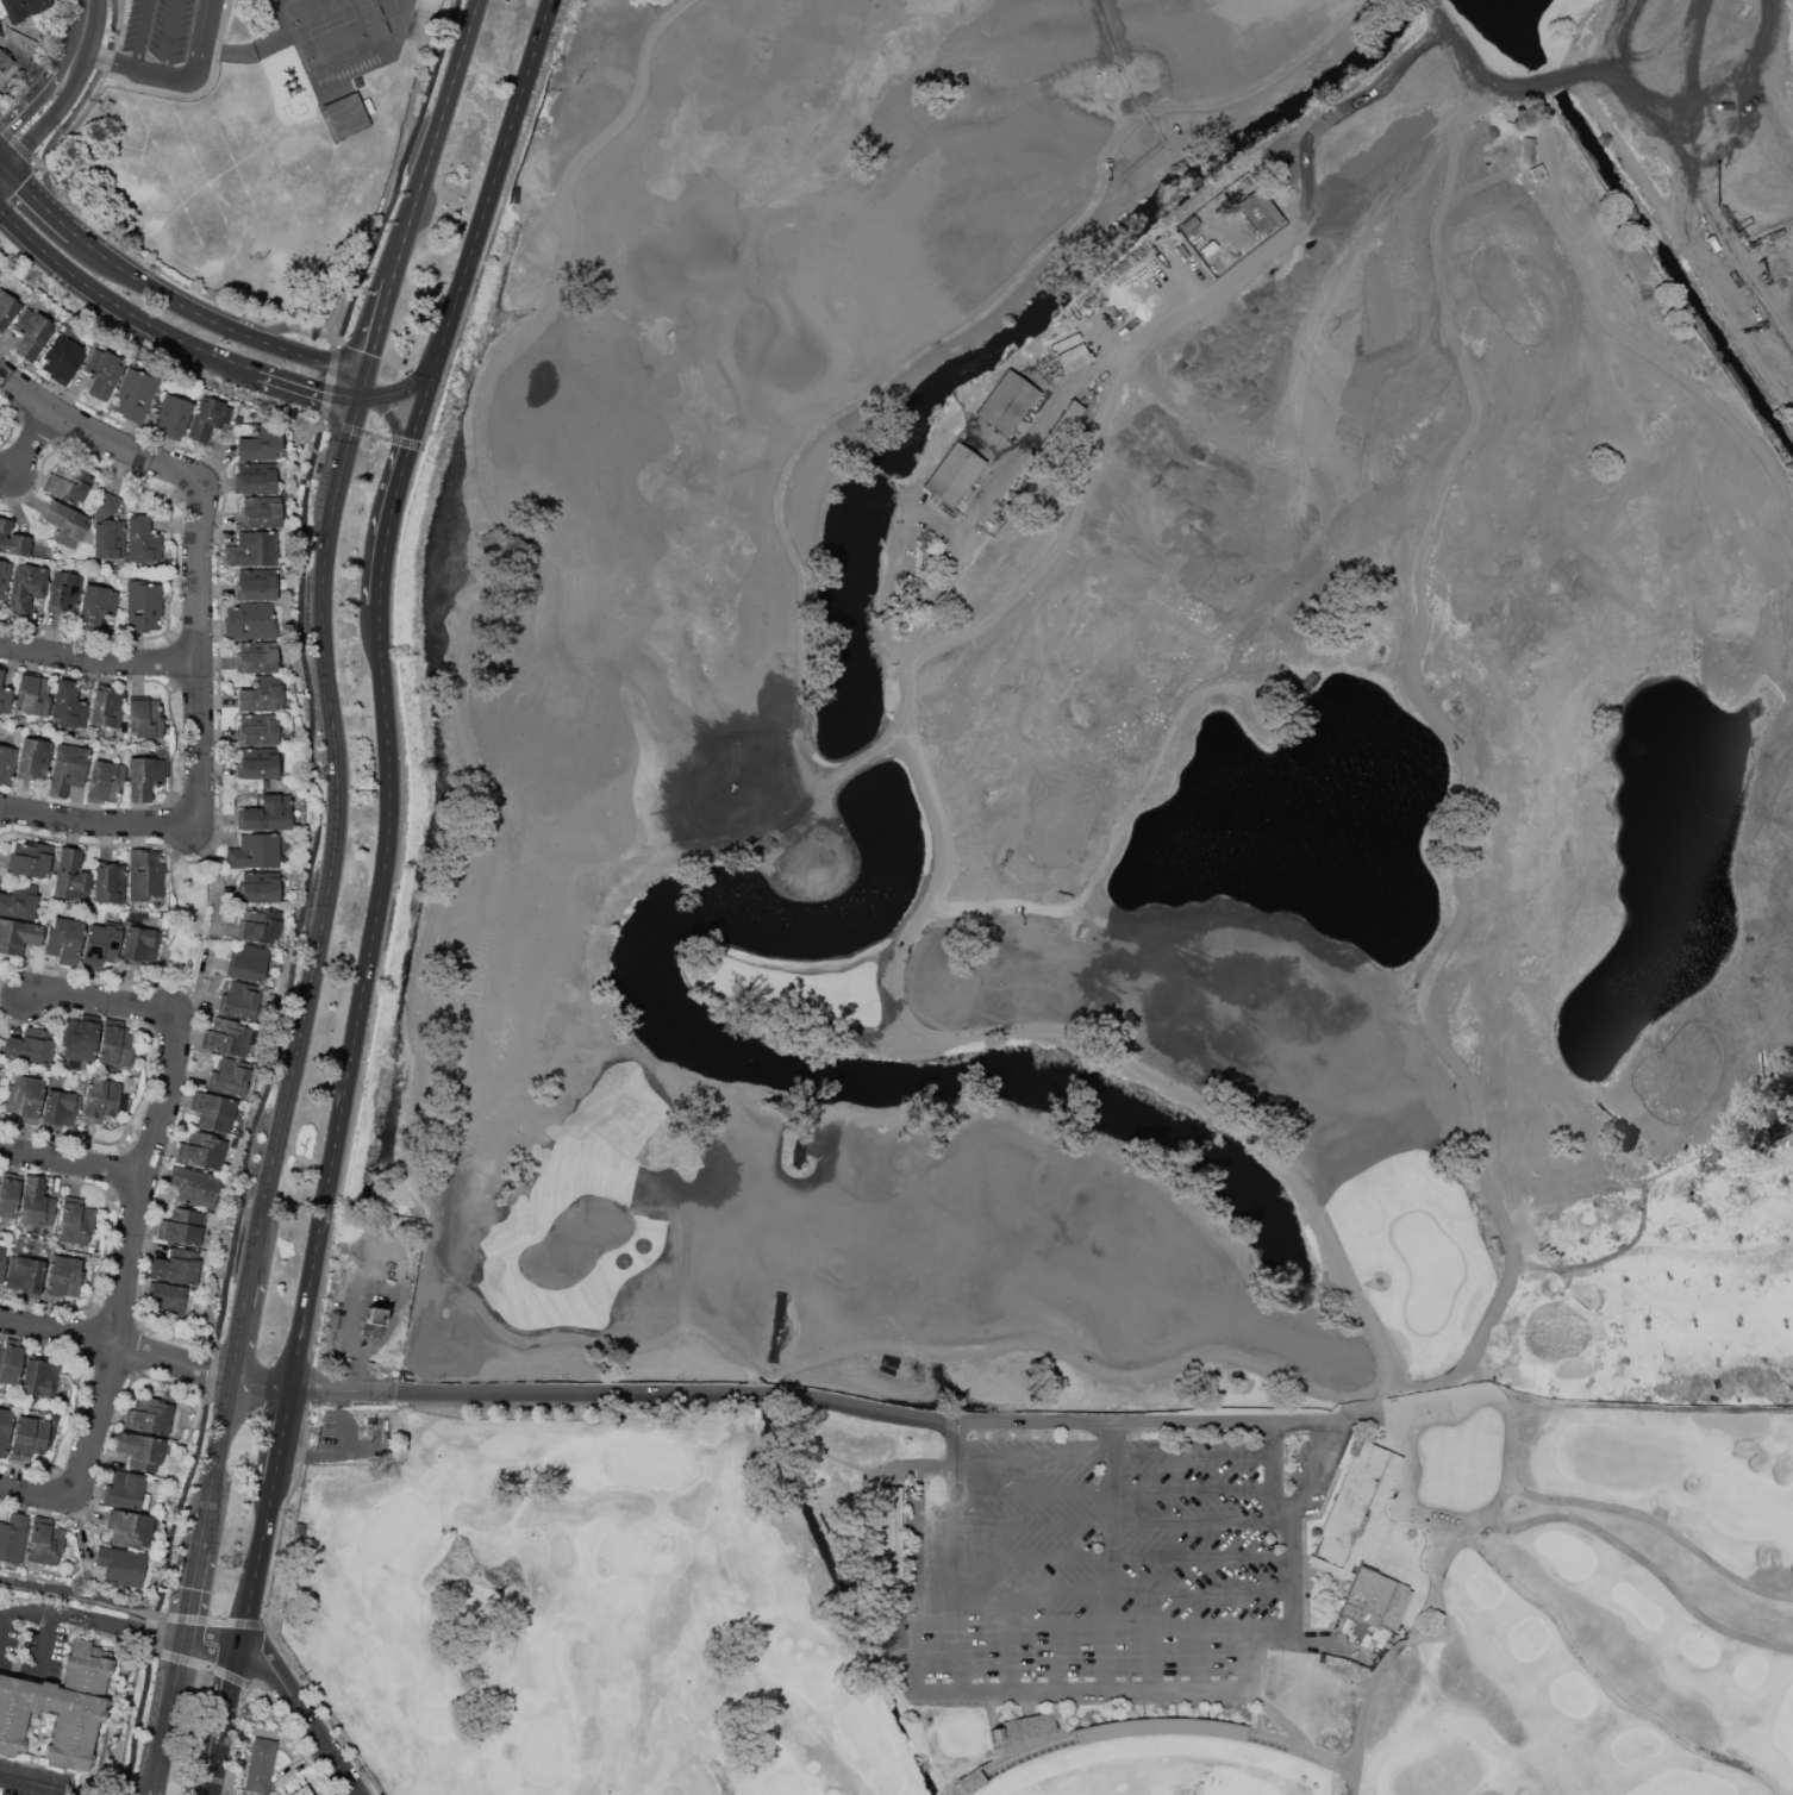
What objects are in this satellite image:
building: (21, 8)
road: (1437, 8)
road: (81, 25)
road: (1578, 32)
road: (143, 33)
road: (171, 38)
road: (198, 42)
building: (5, 60)
road: (133, 67)
road: (1500, 76)
road: (1550, 82)
road: (38, 93)
building: (346, 115)
road: (49, 119)
road: (436, 139)
building: (1526, 149)
road: (504, 160)
road: (1558, 184)
road: (37, 195)
building: (1258, 209)
building: (1189, 224)
road: (1681, 238)
building: (1208, 248)
road: (170, 296)
road: (120, 305)
building: (7, 309)
building: (32, 332)
road: (374, 336)
building: (62, 357)
building: (1072, 357)
road: (320, 362)
building: (102, 373)
road: (421, 380)
road: (308, 387)
building: (136, 393)
building: (1005, 402)
building: (171, 417)
building: (207, 418)
building: (1064, 418)
building: (0, 424)
road: (419, 431)
building: (260, 444)
road: (43, 445)
road: (400, 454)
building: (952, 474)
building: (255, 477)
building: (69, 486)
building: (108, 505)
building: (261, 512)
building: (64, 524)
road: (1358, 529)
building: (108, 538)
building: (13, 539)
building: (143, 539)
road: (193, 545)
building: (252, 549)
building: (167, 563)
building: (4, 577)
building: (254, 583)
building: (25, 588)
building: (64, 592)
building: (143, 605)
building: (96, 609)
building: (251, 620)
road: (100, 652)
building: (256, 656)
building: (1, 675)
building: (32, 694)
building: (262, 695)
road: (1405, 696)
building: (6, 700)
building: (68, 705)
building: (106, 707)
building: (144, 717)
building: (258, 730)
road: (1706, 739)
building: (33, 758)
road: (1455, 761)
building: (257, 763)
building: (6, 764)
building: (68, 769)
building: (144, 776)
building: (105, 781)
building: (267, 813)
road: (100, 819)
road: (339, 834)
road: (948, 848)
building: (254, 850)
building: (29, 857)
building: (70, 875)
building: (144, 875)
building: (108, 883)
building: (260, 887)
building: (18, 901)
road: (179, 920)
park: (1094, 924)
building: (260, 925)
building: (17, 936)
building: (63, 937)
building: (100, 944)
building: (137, 944)
building: (248, 962)
road: (370, 968)
building: (239, 999)
road: (102, 1005)
building: (225, 1038)
building: (79, 1040)
building: (115, 1043)
building: (31, 1046)
building: (229, 1077)
building: (24, 1096)
building: (100, 1100)
building: (61, 1108)
building: (213, 1112)
building: (202, 1149)
road: (1694, 1158)
road: (69, 1163)
building: (195, 1187)
road: (1563, 1190)
building: (8, 1193)
building: (36, 1203)
building: (75, 1221)
building: (183, 1226)
building: (2, 1263)
building: (176, 1266)
building: (25, 1275)
building: (62, 1277)
road: (118, 1291)
building: (167, 1299)
building: (371, 1321)
road: (245, 1326)
road: (119, 1341)
building: (10, 1361)
building: (39, 1377)
road: (783, 1395)
road: (1626, 1406)
building: (148, 1415)
building: (5, 1431)
building: (29, 1437)
road: (286, 1437)
road: (1112, 1438)
road: (952, 1440)
building: (139, 1450)
road: (1112, 1455)
road: (220, 1462)
road: (1274, 1471)
road: (1312, 1471)
road: (1113, 1489)
building: (126, 1490)
road: (1123, 1524)
building: (130, 1527)
building: (1360, 1536)
building: (13, 1537)
building: (874, 1537)
building: (44, 1539)
road: (1111, 1539)
road: (951, 1541)
building: (891, 1543)
road: (1123, 1558)
building: (121, 1565)
road: (260, 1565)
parking lot: (1105, 1565)
road: (196, 1590)
road: (1123, 1590)
road: (95, 1595)
road: (95, 1618)
road: (1, 1624)
road: (1098, 1624)
road: (46, 1640)
road: (215, 1643)
road: (1589, 1644)
road: (1197, 1656)
road: (1101, 1657)
road: (1149, 1657)
road: (1007, 1658)
road: (1058, 1658)
road: (961, 1659)
road: (1131, 1690)
building: (60, 1707)
road: (231, 1712)
road: (306, 1715)
road: (174, 1716)
building: (1026, 1727)
building: (261, 1765)
park: (1164, 1771)
building: (966, 1775)
road: (217, 1785)
road: (29, 1788)
building: (301, 1791)

